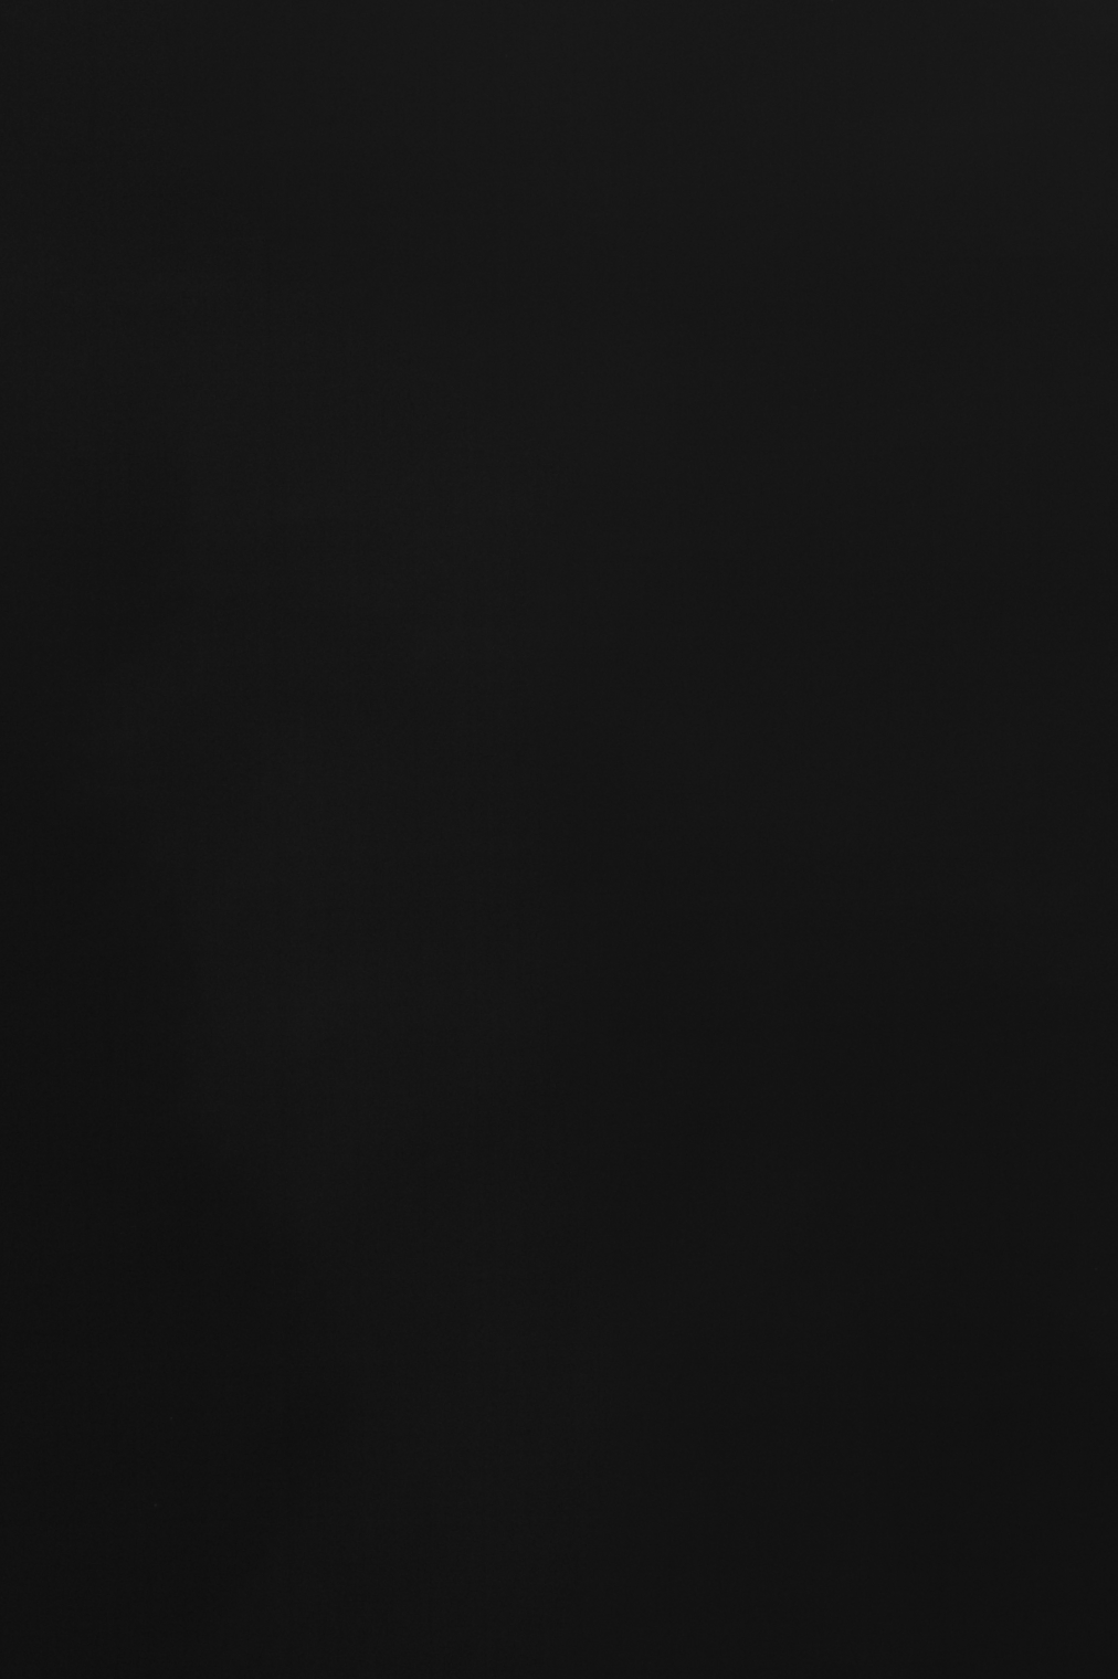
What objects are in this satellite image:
river: (180, 1584)

